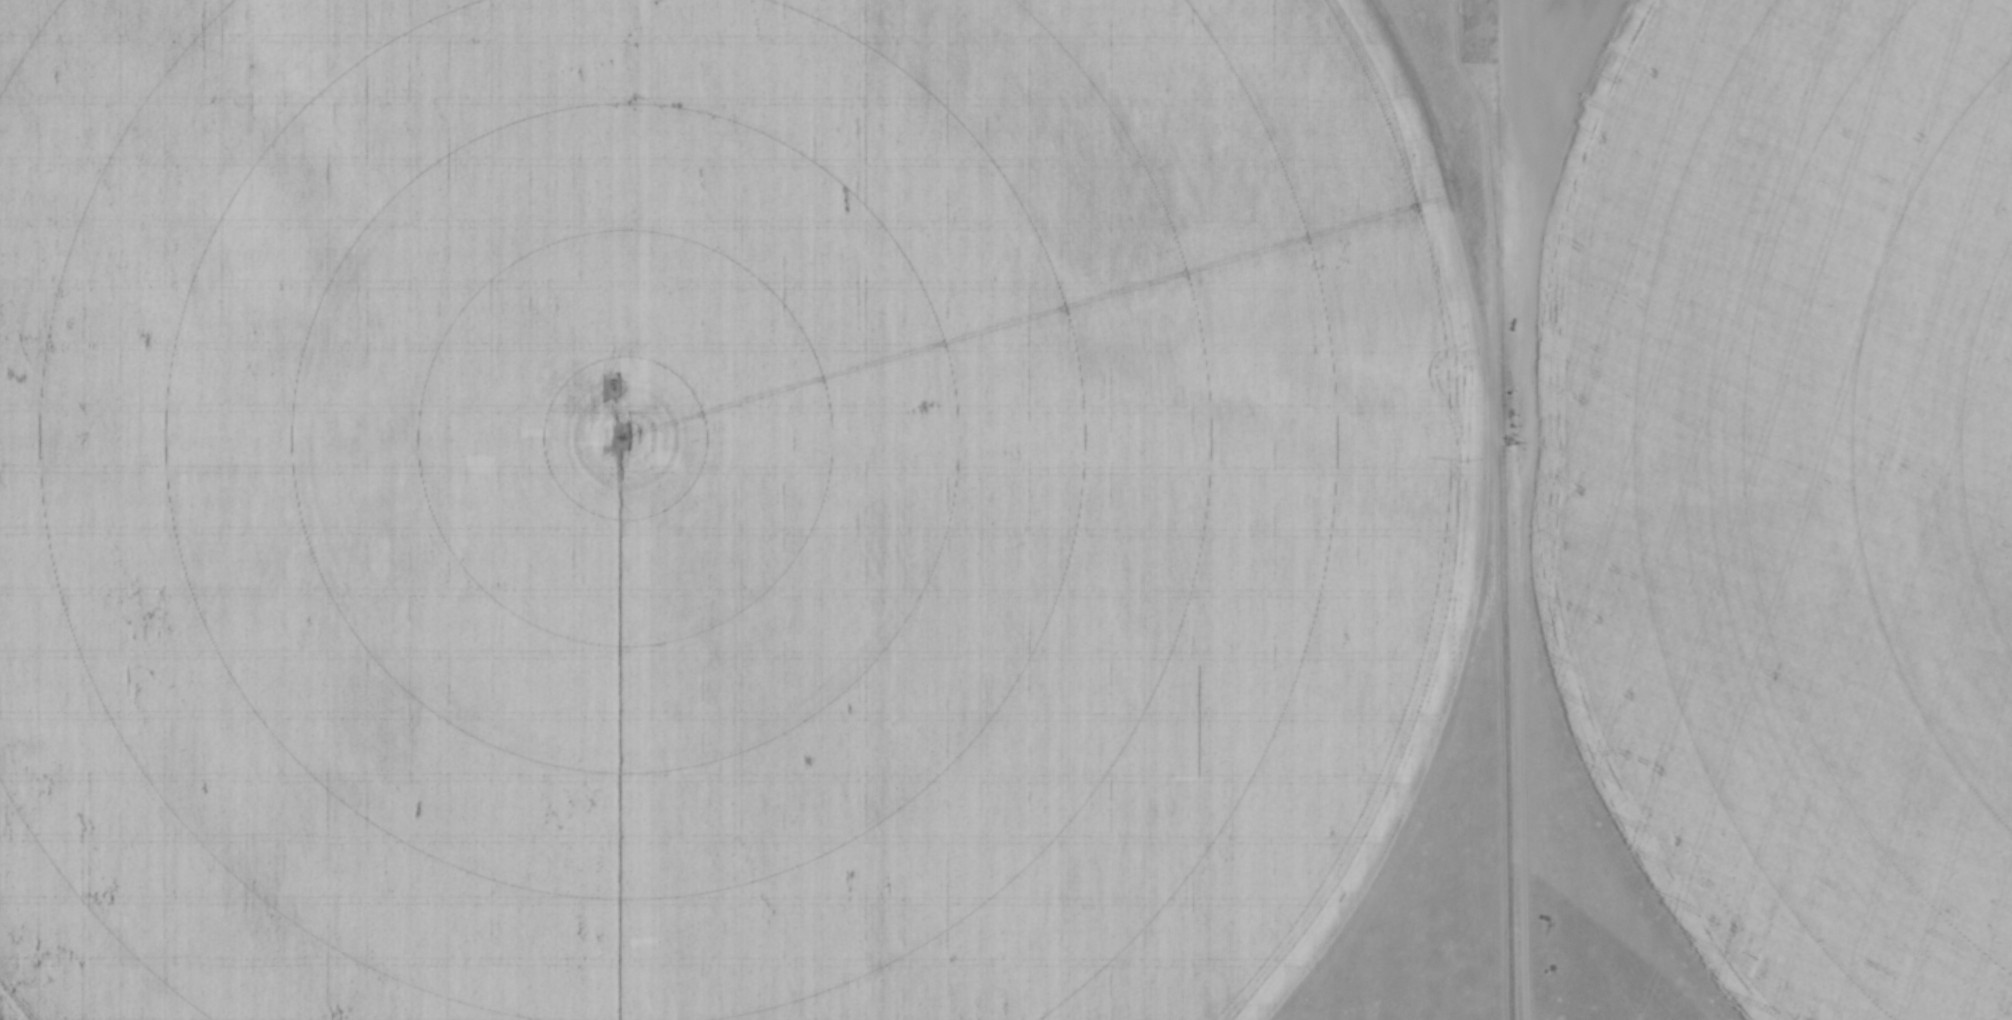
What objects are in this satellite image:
crop: (1783, 483)
crop: (717, 504)

